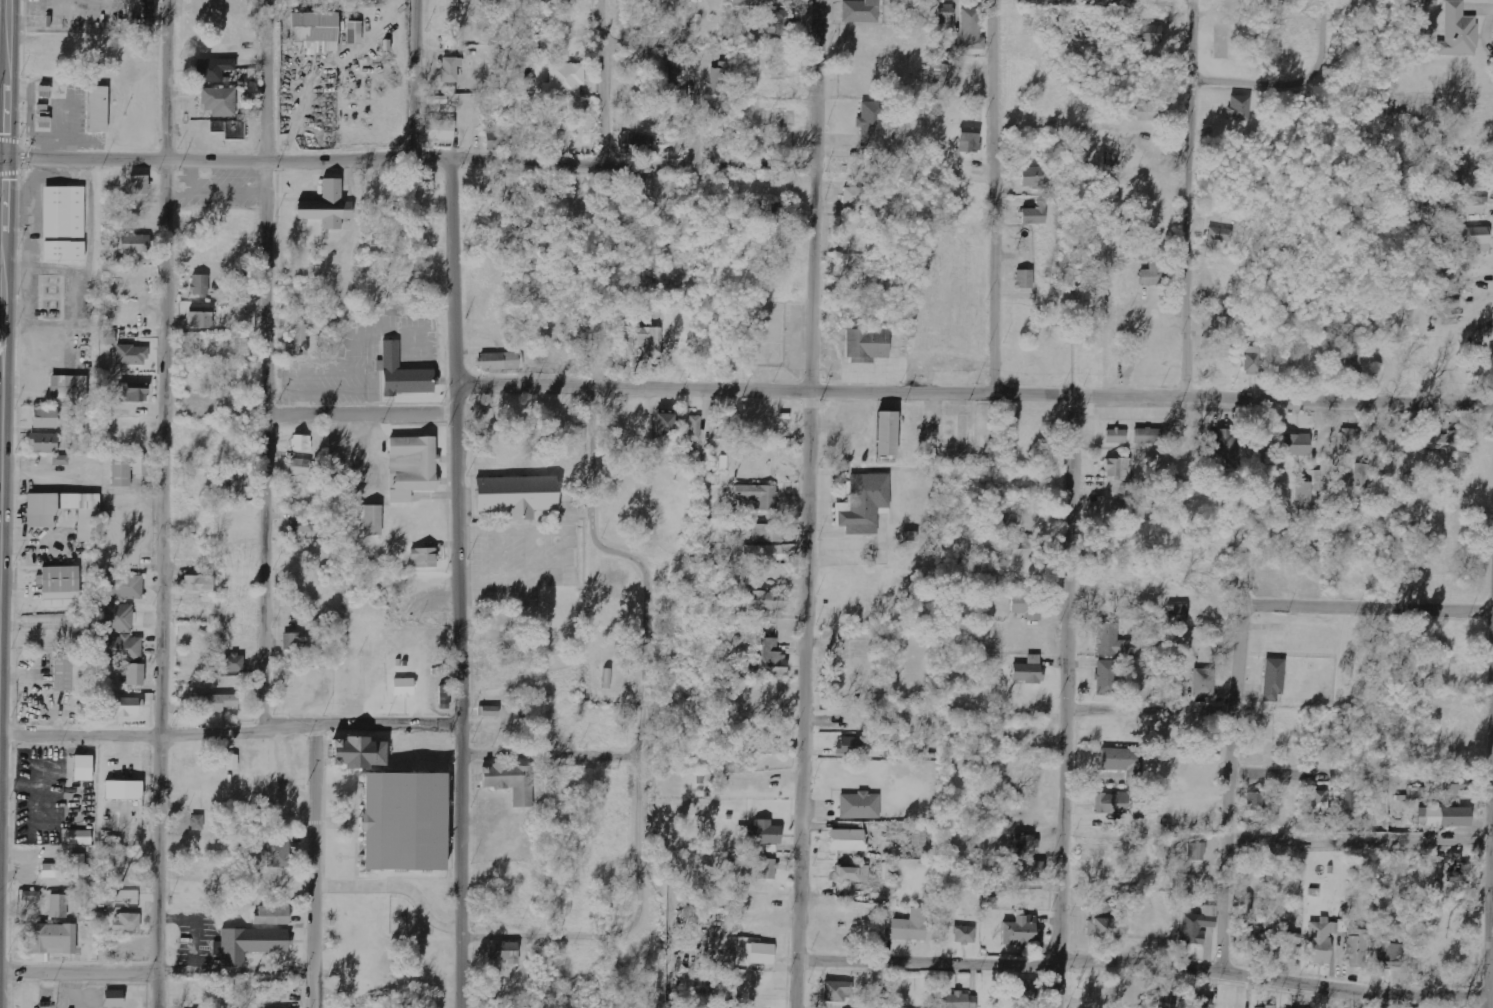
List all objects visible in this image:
building: (860, 11)
building: (946, 19)
building: (783, 24)
building: (971, 29)
road: (1330, 31)
building: (1458, 32)
building: (1151, 33)
building: (312, 35)
road: (691, 59)
building: (450, 69)
building: (211, 72)
building: (940, 75)
road: (413, 78)
building: (720, 79)
building: (564, 80)
road: (603, 82)
road: (1262, 84)
building: (673, 93)
building: (217, 103)
building: (1239, 108)
building: (97, 110)
building: (1151, 112)
building: (873, 126)
building: (229, 129)
building: (441, 129)
building: (492, 134)
building: (969, 139)
building: (635, 143)
road: (2, 153)
road: (410, 156)
building: (1031, 176)
building: (1468, 177)
building: (138, 184)
building: (638, 190)
building: (851, 196)
road: (991, 197)
road: (1188, 201)
building: (1468, 205)
building: (326, 208)
building: (780, 210)
building: (1035, 214)
road: (3, 221)
building: (61, 225)
building: (1219, 234)
building: (1474, 239)
building: (131, 244)
building: (1153, 274)
road: (358, 277)
building: (1025, 279)
building: (199, 285)
building: (200, 317)
building: (1218, 324)
building: (108, 337)
building: (300, 340)
building: (650, 341)
building: (866, 345)
building: (131, 355)
building: (1253, 359)
building: (499, 361)
building: (1345, 365)
road: (267, 366)
building: (400, 372)
building: (67, 385)
building: (132, 392)
road: (972, 393)
building: (204, 402)
road: (360, 416)
building: (45, 418)
building: (664, 423)
building: (694, 428)
building: (887, 434)
building: (1116, 436)
building: (1147, 436)
building: (1440, 438)
building: (42, 441)
building: (1349, 441)
building: (302, 443)
building: (1296, 445)
building: (1223, 449)
building: (141, 465)
building: (300, 467)
building: (409, 469)
building: (1118, 469)
building: (120, 471)
building: (1362, 475)
building: (234, 484)
building: (515, 494)
building: (758, 495)
building: (1304, 496)
road: (160, 503)
road: (806, 503)
building: (864, 503)
building: (39, 520)
building: (365, 522)
building: (307, 527)
building: (767, 533)
building: (763, 552)
building: (422, 558)
road: (458, 581)
building: (198, 583)
building: (128, 587)
building: (59, 588)
building: (766, 601)
building: (1027, 606)
road: (1386, 606)
building: (1178, 615)
building: (119, 618)
building: (296, 640)
building: (1114, 641)
building: (121, 648)
building: (768, 660)
building: (234, 663)
building: (1028, 671)
building: (66, 675)
building: (135, 675)
building: (1107, 678)
building: (1273, 680)
building: (1204, 682)
building: (403, 688)
building: (217, 702)
road: (1068, 703)
building: (128, 706)
road: (1151, 708)
building: (490, 711)
road: (643, 729)
road: (231, 734)
building: (765, 744)
building: (853, 746)
building: (356, 750)
building: (1119, 761)
building: (232, 762)
building: (82, 768)
road: (1230, 772)
building: (508, 780)
building: (123, 791)
building: (1454, 792)
building: (1416, 793)
building: (1351, 798)
building: (1255, 802)
building: (1320, 803)
building: (1111, 804)
building: (860, 806)
building: (1448, 818)
building: (402, 819)
building: (197, 822)
building: (763, 834)
building: (77, 837)
building: (919, 837)
road: (1358, 839)
building: (846, 841)
building: (1027, 844)
building: (1196, 851)
building: (277, 854)
road: (314, 866)
road: (1489, 866)
building: (78, 867)
building: (1454, 868)
building: (767, 869)
building: (55, 871)
building: (1028, 871)
building: (851, 875)
building: (31, 896)
building: (59, 906)
building: (273, 916)
building: (127, 923)
building: (1104, 923)
building: (1197, 925)
building: (907, 927)
building: (1250, 930)
building: (1021, 932)
building: (965, 935)
building: (51, 939)
building: (1320, 941)
building: (248, 942)
building: (1288, 946)
building: (1356, 949)
building: (502, 951)
building: (759, 954)
building: (1389, 955)
road: (1140, 962)
road: (157, 976)
building: (1025, 990)
building: (270, 991)
building: (836, 992)
building: (113, 999)
building: (955, 1000)
building: (1167, 1001)
building: (1202, 1002)
building: (873, 1007)
building: (1266, 1007)

